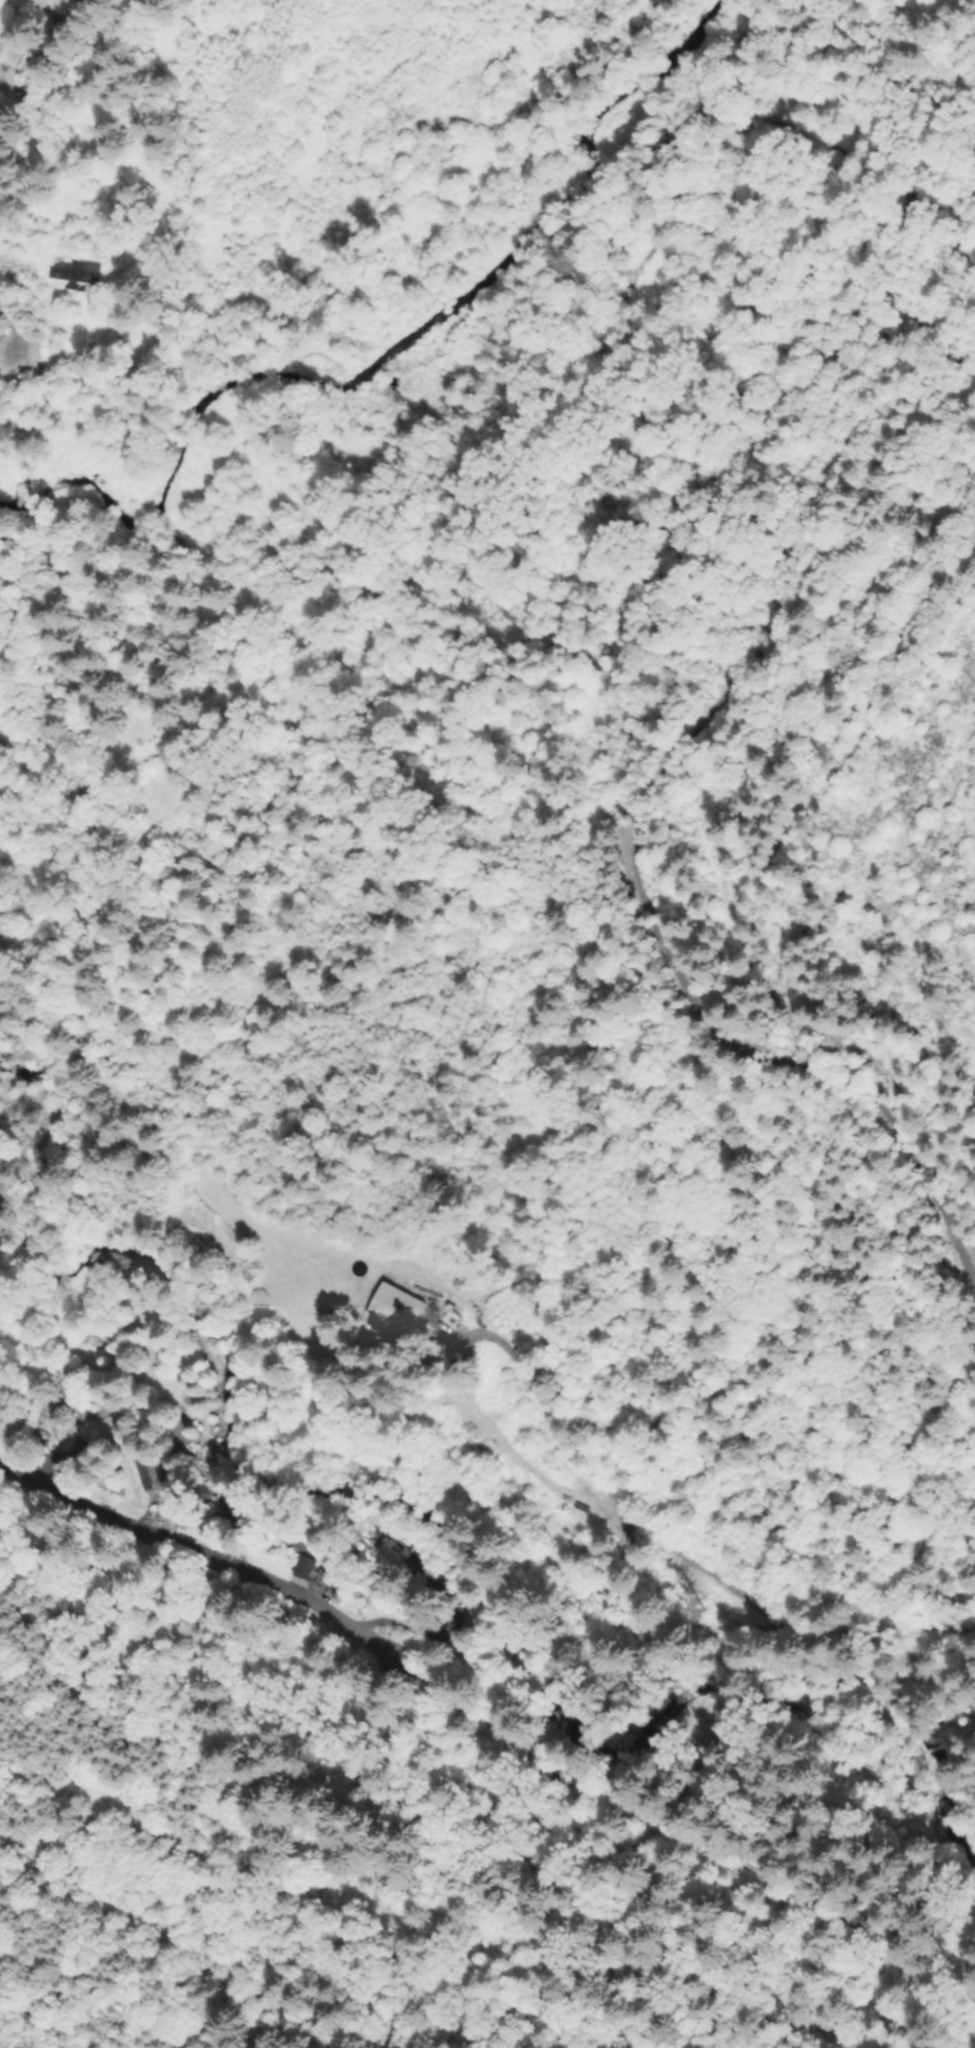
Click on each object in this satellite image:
building: (12, 51)
road: (40, 72)
building: (78, 273)
building: (252, 1273)
building: (406, 1313)
building: (148, 1479)
road: (206, 1552)
building: (302, 1569)
road: (845, 1633)
road: (475, 1668)

